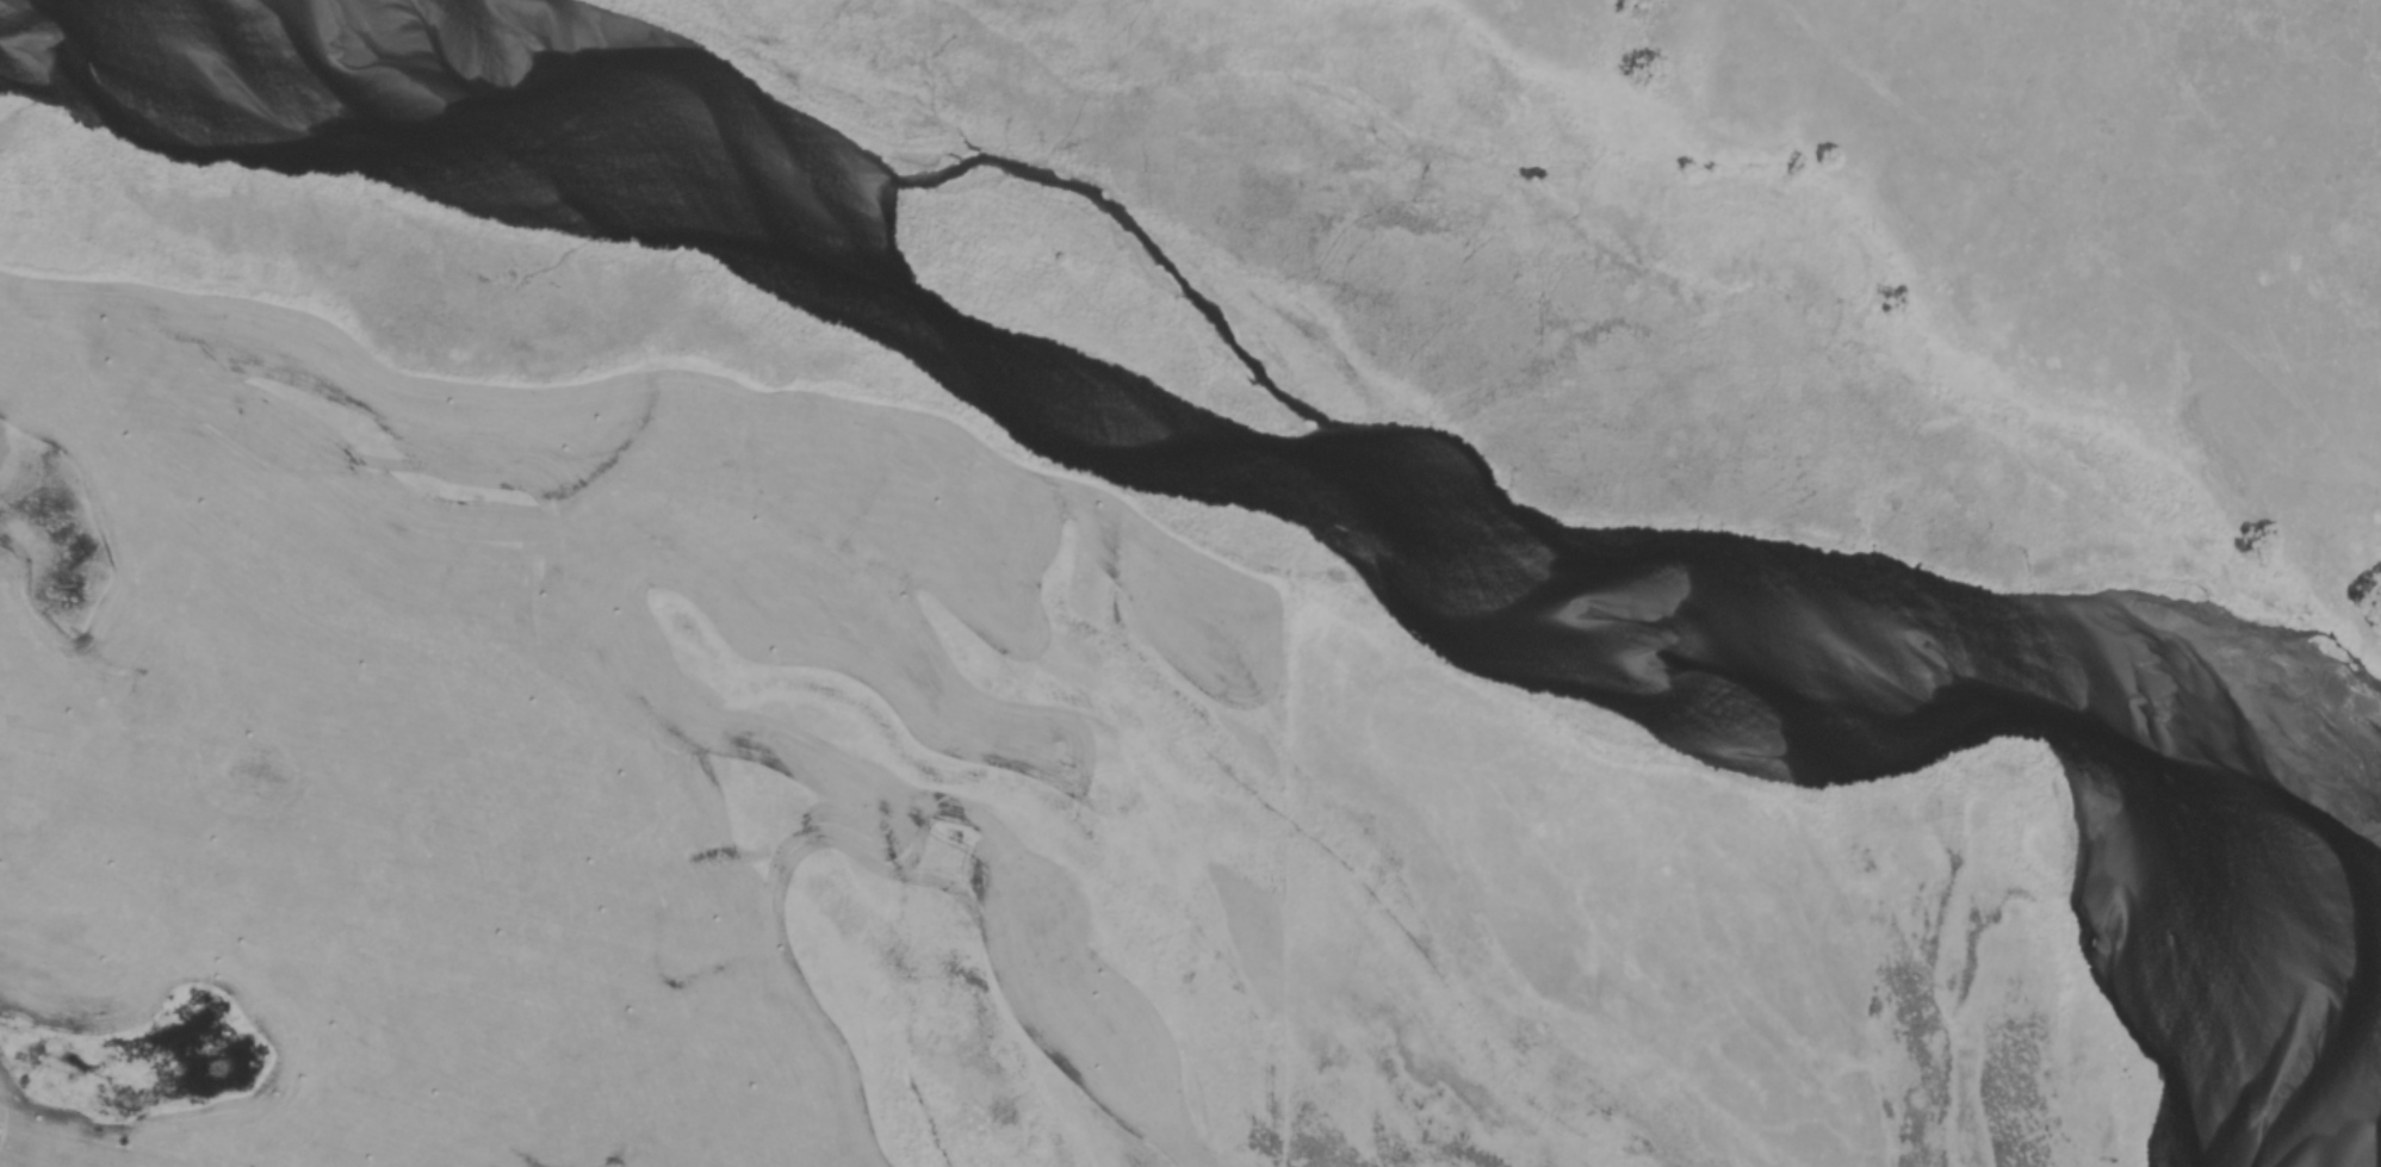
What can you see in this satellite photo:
river: (1347, 498)

